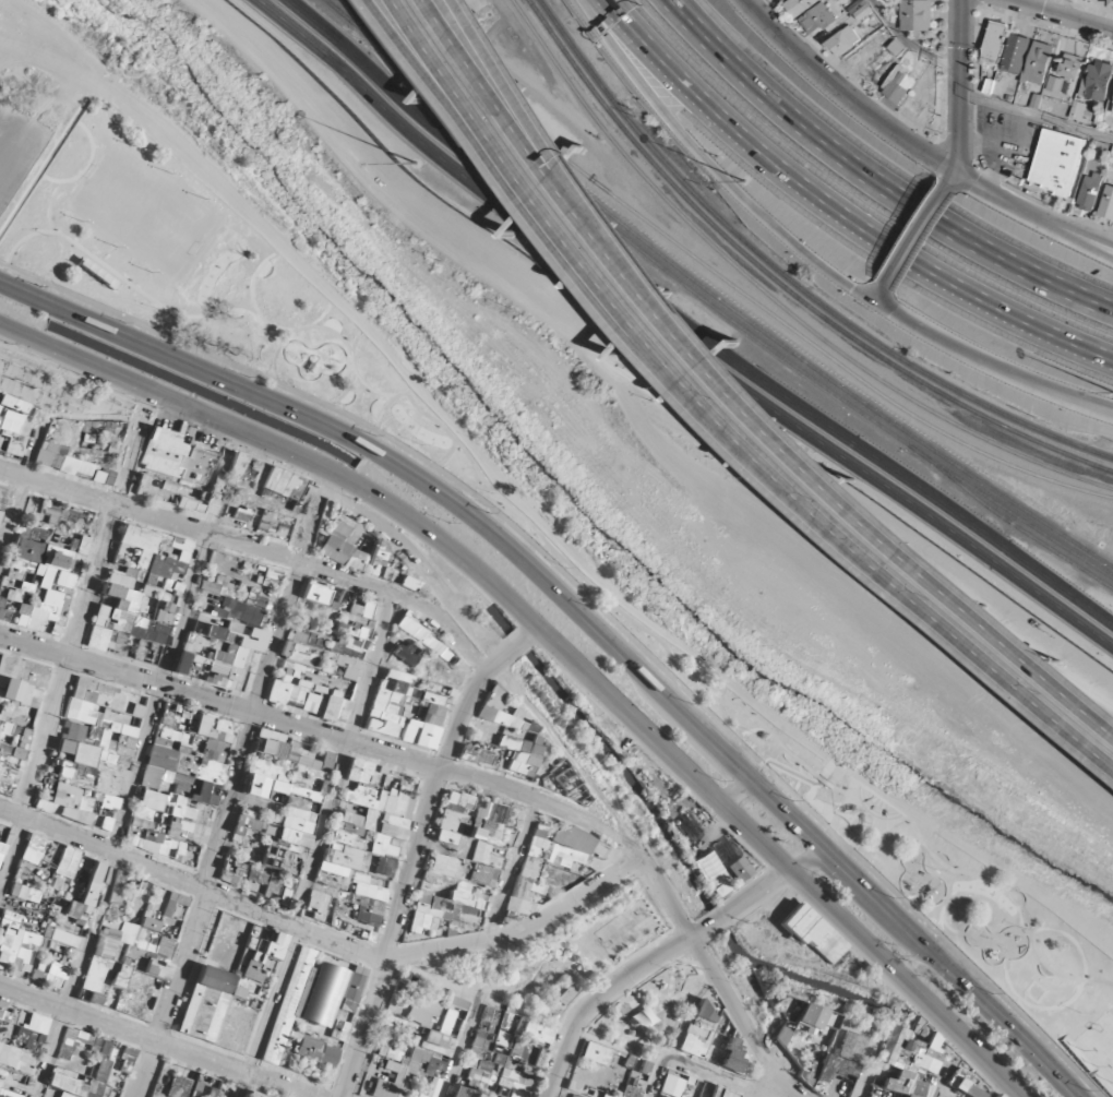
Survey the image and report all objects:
building: (799, 5)
road: (1064, 8)
building: (861, 10)
railway: (337, 11)
railway: (339, 11)
road: (1062, 14)
building: (915, 15)
building: (817, 20)
building: (843, 40)
building: (994, 41)
road: (909, 43)
building: (897, 48)
building: (1016, 53)
road: (482, 60)
road: (493, 60)
building: (1039, 63)
building: (1070, 67)
railway: (593, 73)
road: (959, 77)
building: (1097, 81)
building: (899, 84)
road: (841, 95)
road: (477, 96)
road: (466, 97)
building: (1112, 111)
road: (1036, 116)
road: (8, 134)
railway: (638, 147)
road: (1005, 152)
building: (1056, 162)
road: (714, 167)
road: (955, 169)
road: (995, 170)
road: (968, 181)
road: (872, 182)
building: (1090, 191)
building: (1106, 203)
road: (838, 210)
road: (1046, 215)
road: (1045, 226)
road: (920, 236)
railway: (624, 239)
railway: (756, 252)
railway: (719, 278)
road: (884, 295)
railway: (715, 298)
railway: (768, 299)
road: (694, 319)
road: (679, 332)
railway: (873, 350)
road: (993, 363)
railway: (991, 410)
road: (645, 419)
road: (798, 436)
railway: (1045, 448)
road: (214, 479)
road: (316, 479)
road: (812, 487)
road: (14, 496)
river: (572, 499)
road: (529, 509)
railway: (1009, 512)
building: (0, 513)
railway: (1006, 521)
road: (306, 524)
road: (256, 547)
park: (550, 552)
road: (417, 561)
building: (36, 570)
road: (583, 621)
road: (551, 649)
road: (68, 654)
building: (21, 672)
building: (313, 678)
road: (323, 736)
road: (571, 756)
road: (731, 796)
building: (276, 815)
road: (125, 816)
building: (357, 824)
building: (117, 827)
road: (220, 830)
building: (2, 831)
road: (316, 845)
road: (415, 851)
road: (504, 872)
park: (621, 933)
road: (323, 939)
road: (657, 952)
building: (57, 966)
road: (715, 976)
building: (216, 982)
road: (691, 992)
road: (623, 993)
road: (660, 1004)
road: (648, 1011)
road: (636, 1017)
building: (283, 1023)
road: (618, 1034)
road: (155, 1038)
building: (397, 1039)
road: (458, 1051)
road: (657, 1071)
road: (863, 1074)
road: (723, 1078)
road: (757, 1095)

